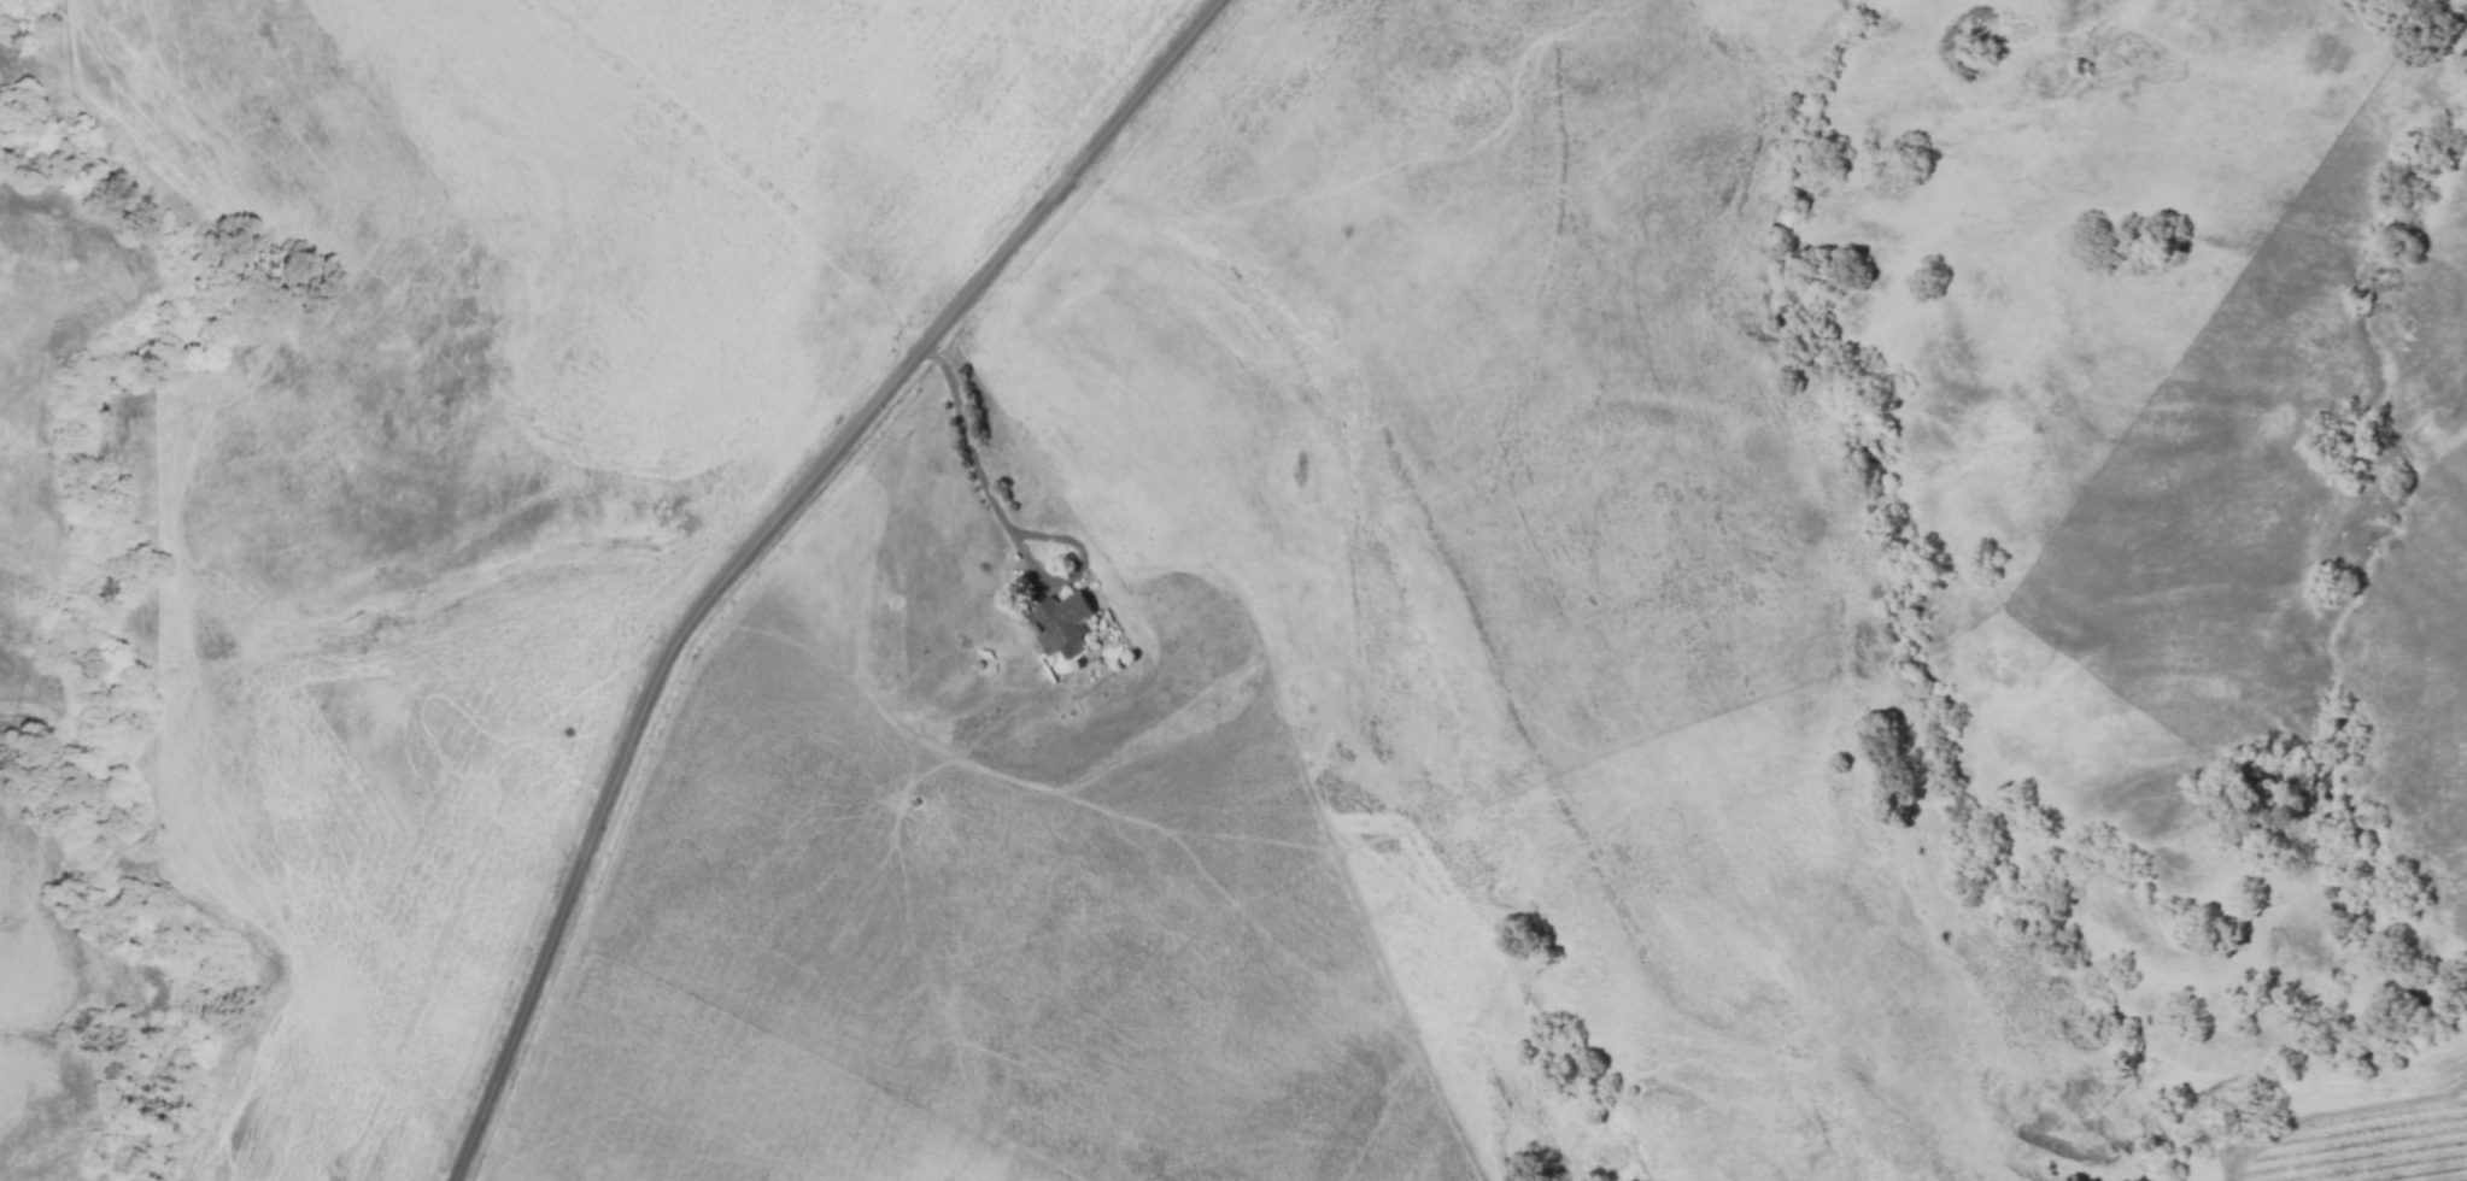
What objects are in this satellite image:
road: (975, 458)
road: (757, 541)
building: (1062, 622)

